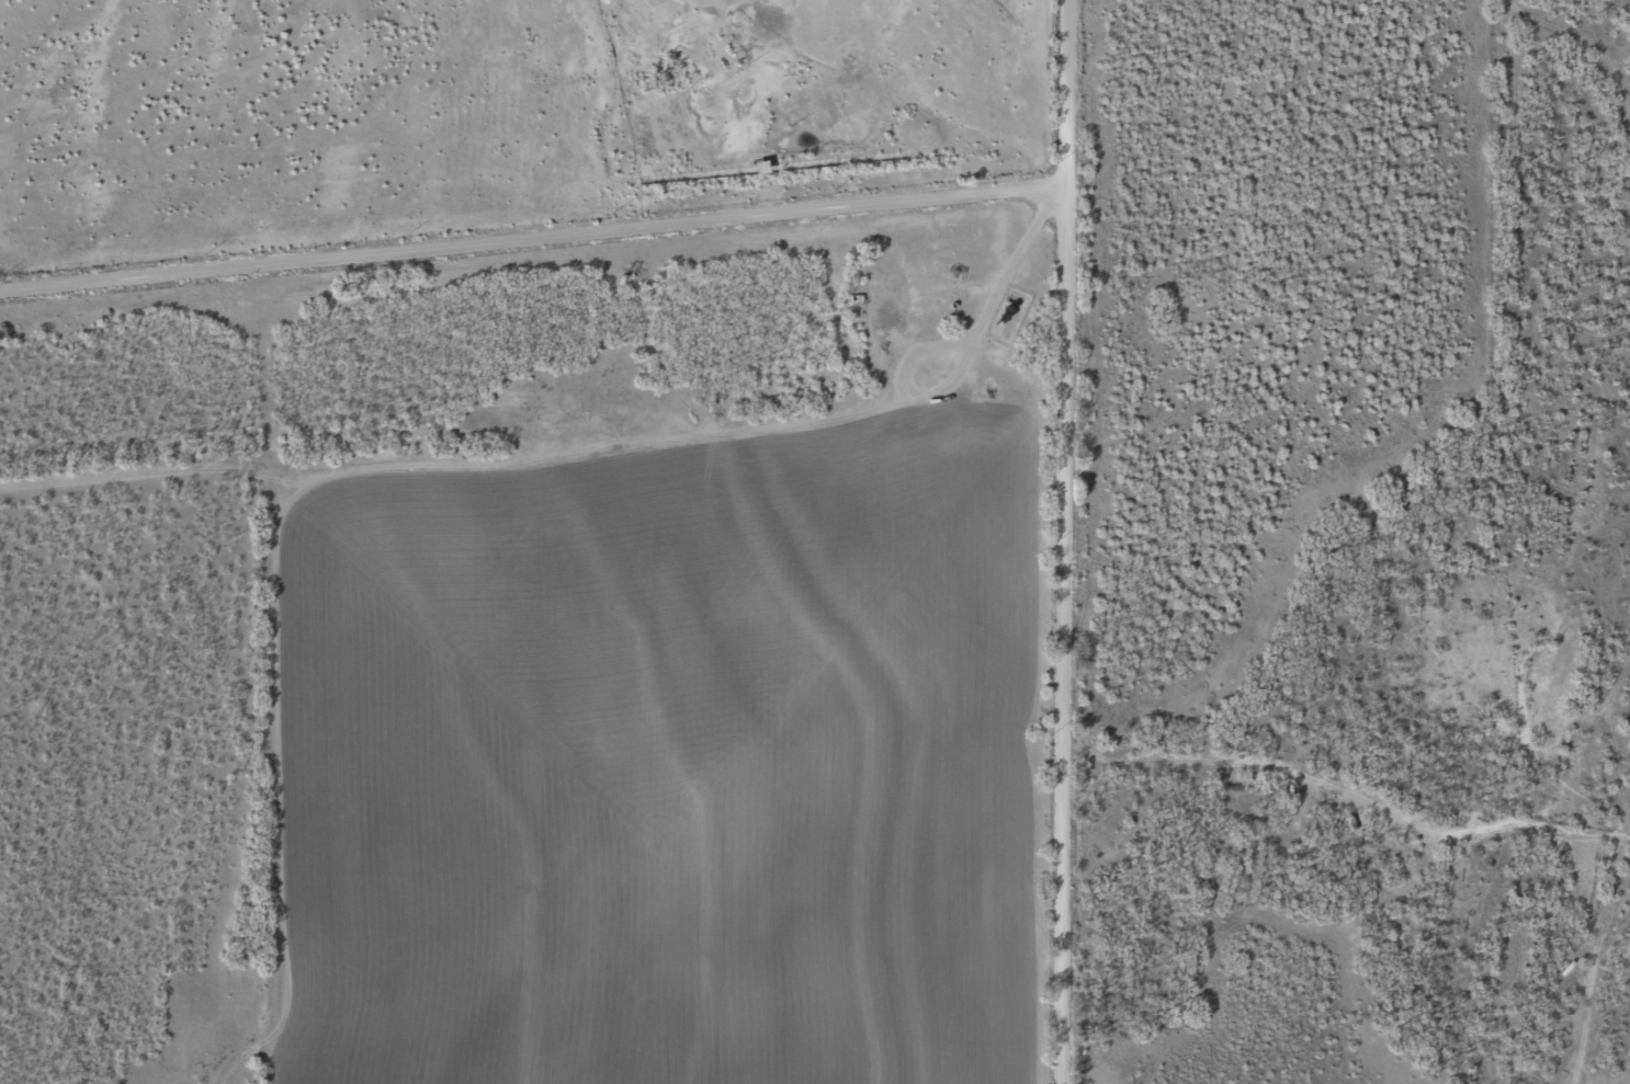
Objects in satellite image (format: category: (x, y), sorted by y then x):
building: (720, 9)
road: (1610, 10)
road: (1621, 49)
building: (727, 58)
road: (522, 281)
road: (1045, 657)
road: (1621, 666)
road: (1335, 776)
road: (1612, 852)

